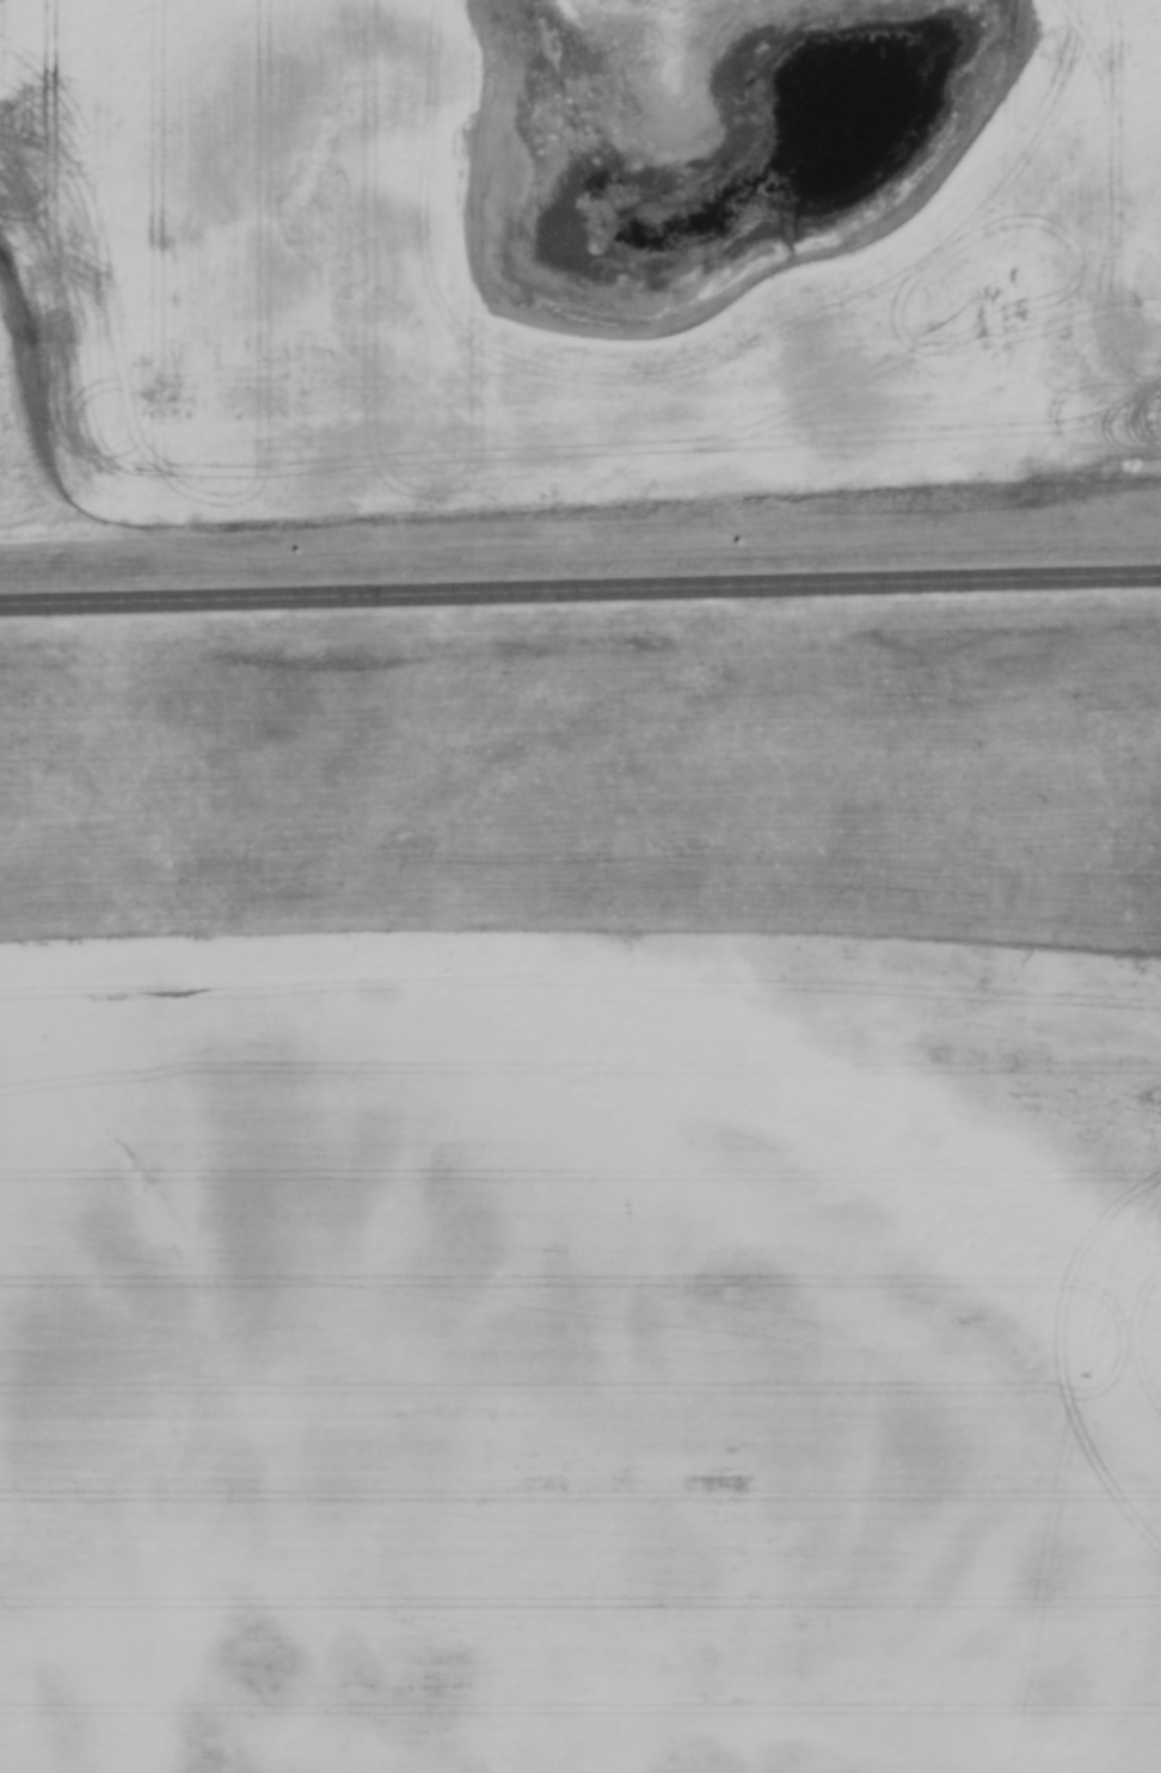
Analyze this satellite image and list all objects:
road: (580, 590)

